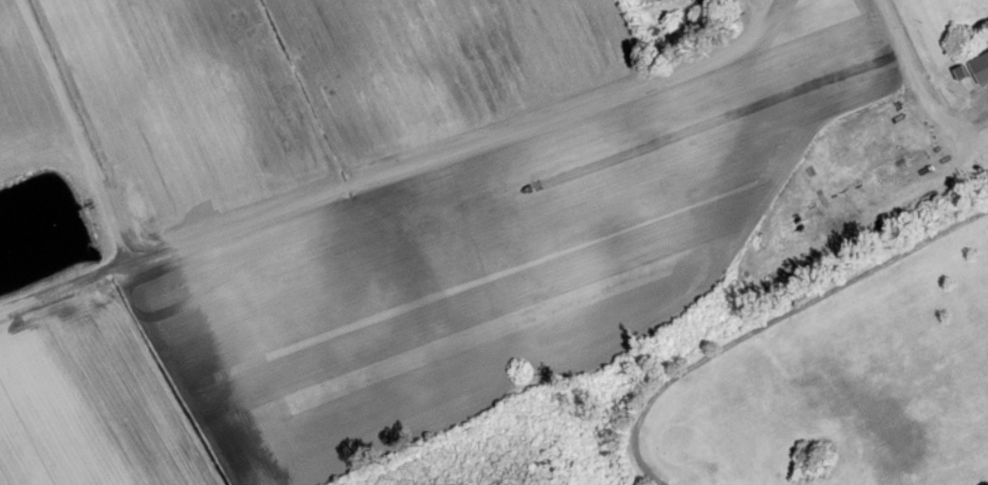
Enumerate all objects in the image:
building: (661, 0)
road: (927, 78)

